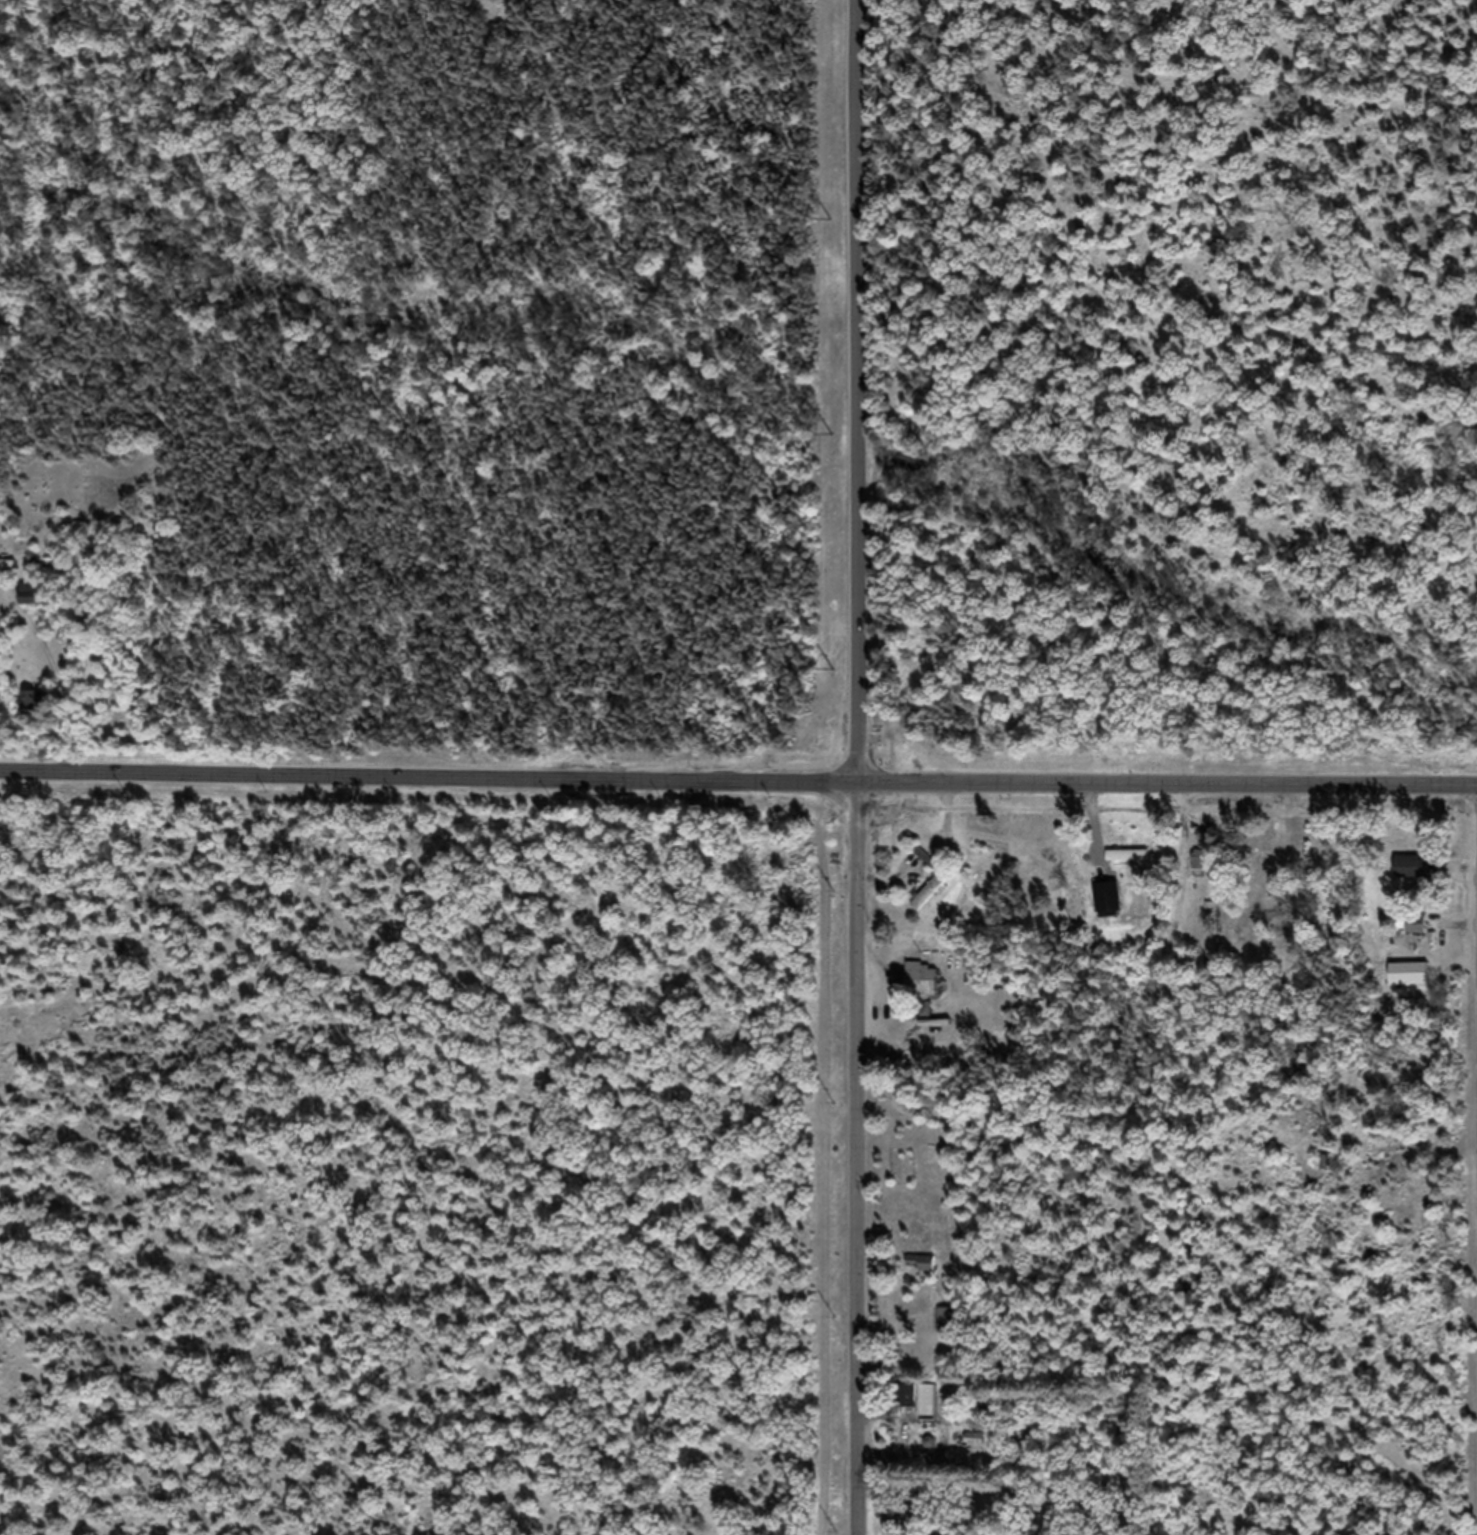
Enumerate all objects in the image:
building: (10, 574)
building: (41, 604)
building: (38, 709)
road: (859, 767)
road: (430, 786)
road: (1168, 793)
building: (1282, 857)
building: (1119, 864)
building: (1201, 869)
building: (989, 873)
building: (1410, 876)
building: (929, 903)
building: (1107, 905)
building: (1417, 934)
building: (921, 989)
building: (920, 1274)
building: (946, 1327)
building: (909, 1404)
building: (975, 1448)

